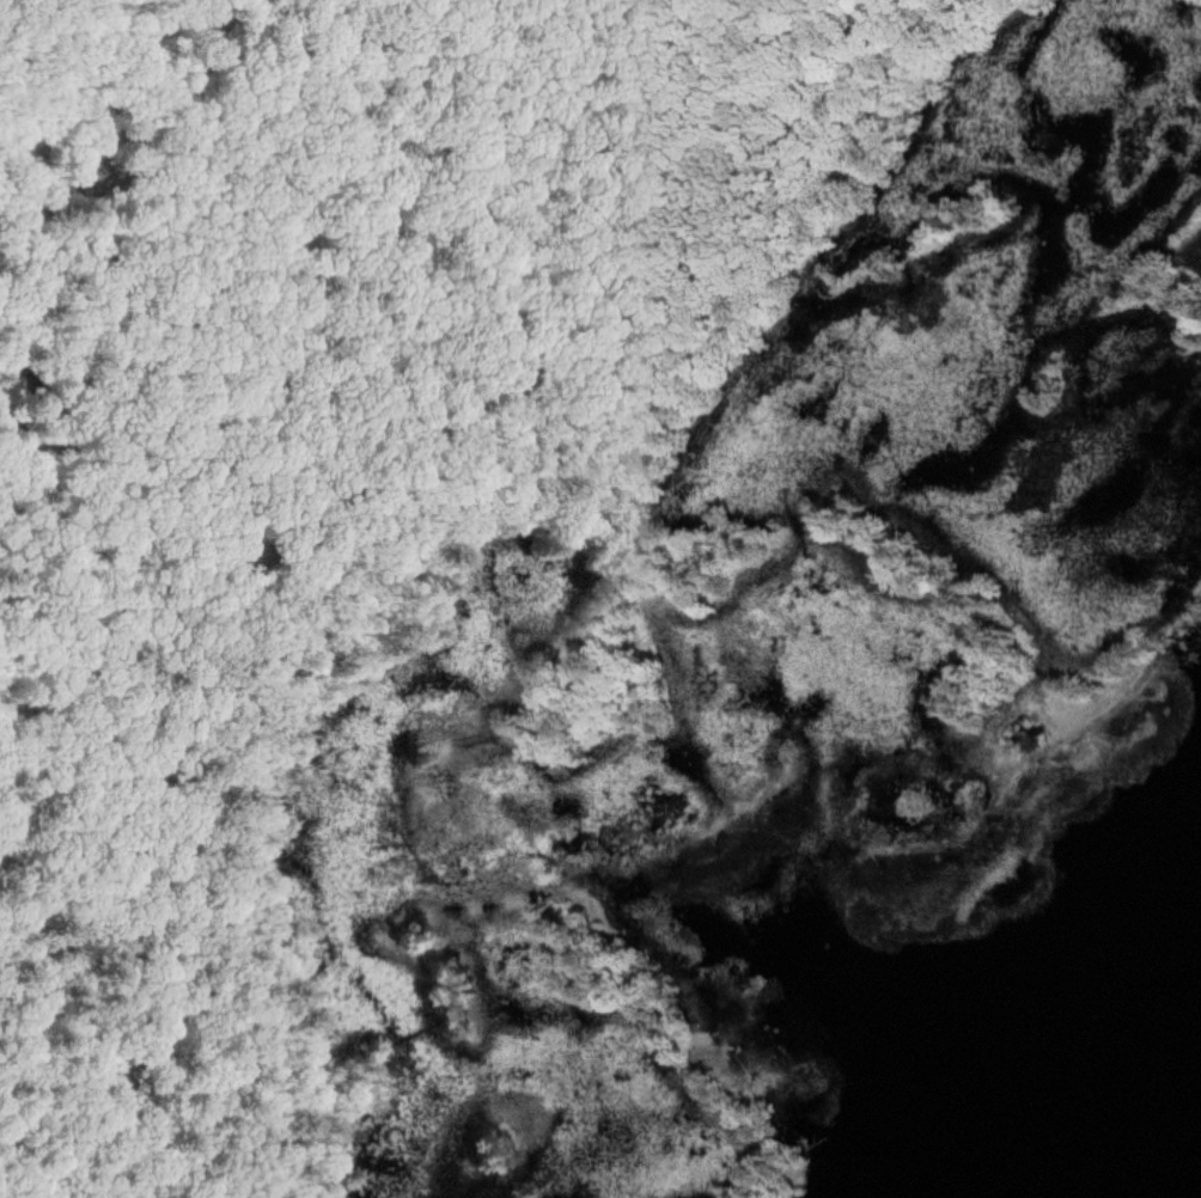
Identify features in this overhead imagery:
road: (8, 8)
road: (493, 528)
park: (554, 555)

